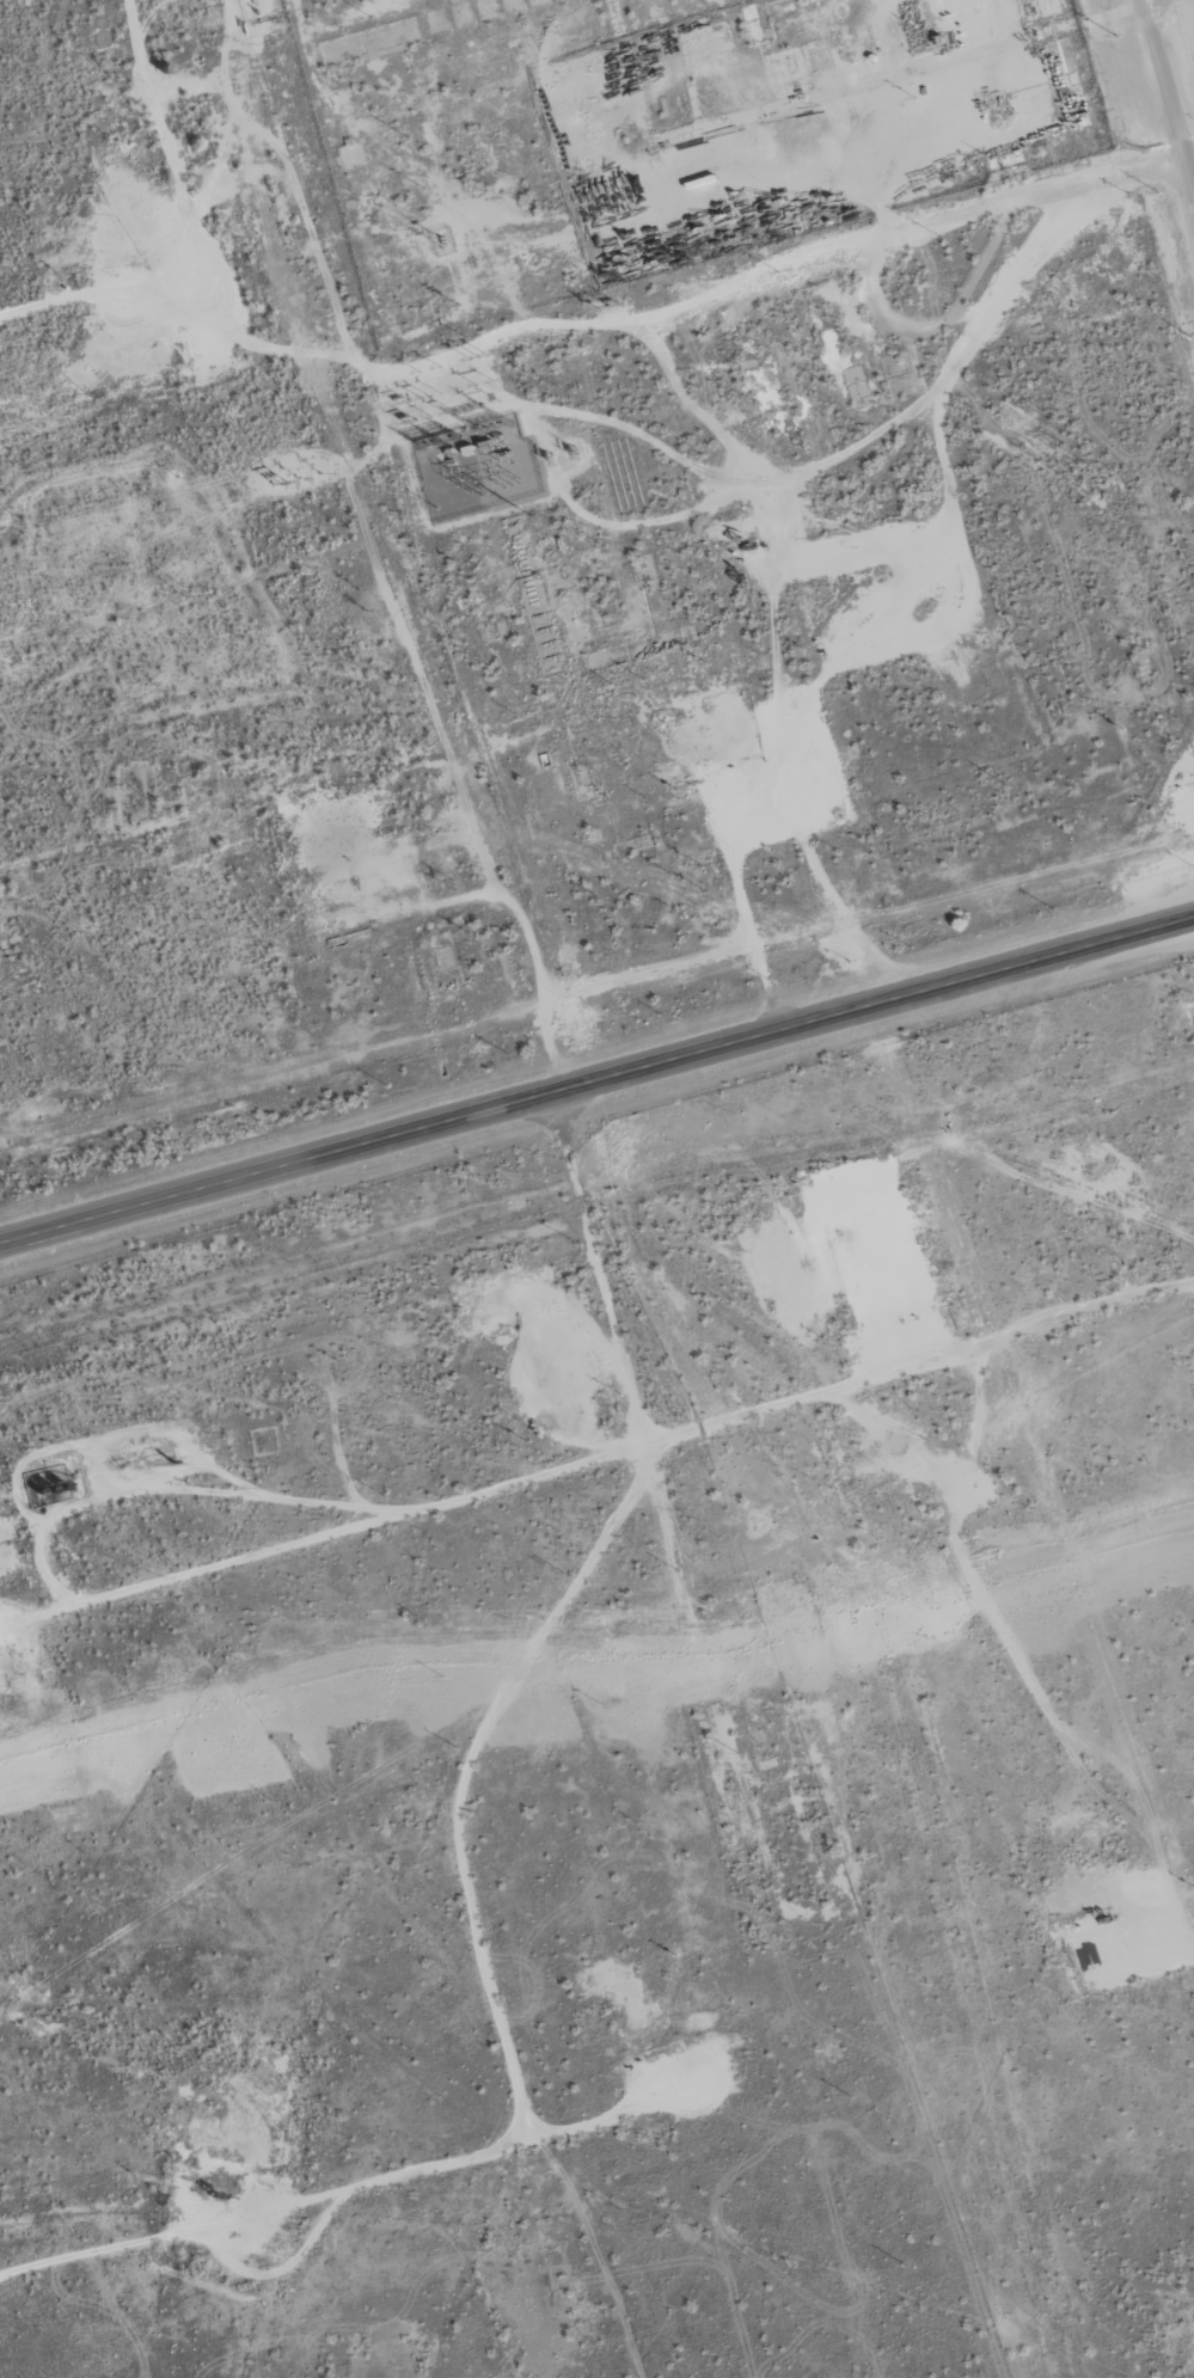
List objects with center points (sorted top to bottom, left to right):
road: (1163, 106)
power substation: (474, 470)
power tower: (515, 509)
power tower: (182, 594)
road: (595, 1074)

